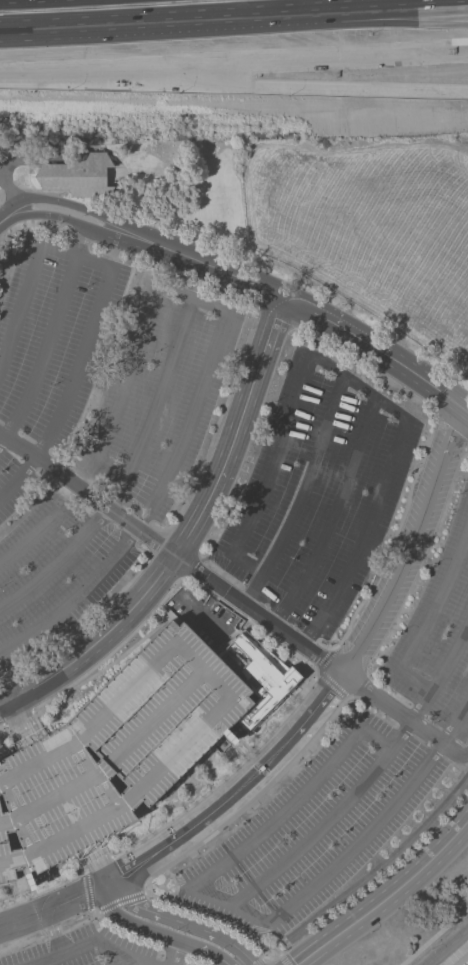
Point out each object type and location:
road: (389, 18)
railway: (234, 23)
road: (389, 28)
road: (155, 33)
road: (234, 78)
road: (18, 160)
building: (77, 175)
road: (7, 187)
road: (8, 188)
road: (39, 190)
road: (0, 196)
road: (93, 213)
road: (92, 227)
road: (27, 285)
road: (275, 295)
road: (326, 308)
road: (140, 333)
road: (49, 334)
road: (85, 348)
parking lot: (110, 368)
road: (415, 373)
road: (360, 387)
road: (1, 440)
road: (210, 447)
road: (18, 479)
road: (300, 492)
parking lot: (316, 494)
road: (331, 514)
road: (41, 528)
road: (185, 536)
road: (415, 543)
road: (170, 553)
road: (56, 560)
parking lot: (49, 562)
building: (110, 587)
road: (72, 596)
road: (159, 615)
road: (428, 617)
road: (93, 618)
parking lot: (202, 618)
road: (346, 632)
road: (336, 639)
road: (118, 646)
road: (122, 655)
road: (323, 659)
road: (442, 674)
building: (256, 675)
road: (329, 683)
road: (220, 696)
road: (400, 712)
road: (21, 722)
road: (6, 727)
road: (267, 734)
road: (241, 741)
building: (116, 750)
parking lot: (116, 750)
road: (239, 751)
road: (463, 754)
road: (108, 762)
road: (210, 768)
parking lot: (352, 771)
road: (91, 778)
road: (291, 803)
road: (209, 812)
road: (328, 817)
road: (379, 818)
road: (16, 821)
road: (97, 863)
road: (43, 890)
road: (85, 890)
road: (15, 891)
road: (33, 892)
road: (387, 897)
road: (165, 899)
road: (115, 902)
road: (229, 904)
road: (22, 919)
road: (91, 919)
road: (179, 923)
road: (53, 932)
road: (153, 933)
road: (434, 935)
road: (104, 945)
road: (445, 946)
parking lot: (83, 949)
road: (172, 953)
road: (260, 953)
road: (45, 959)
road: (462, 959)
road: (282, 960)
road: (258, 961)
road: (129, 962)

